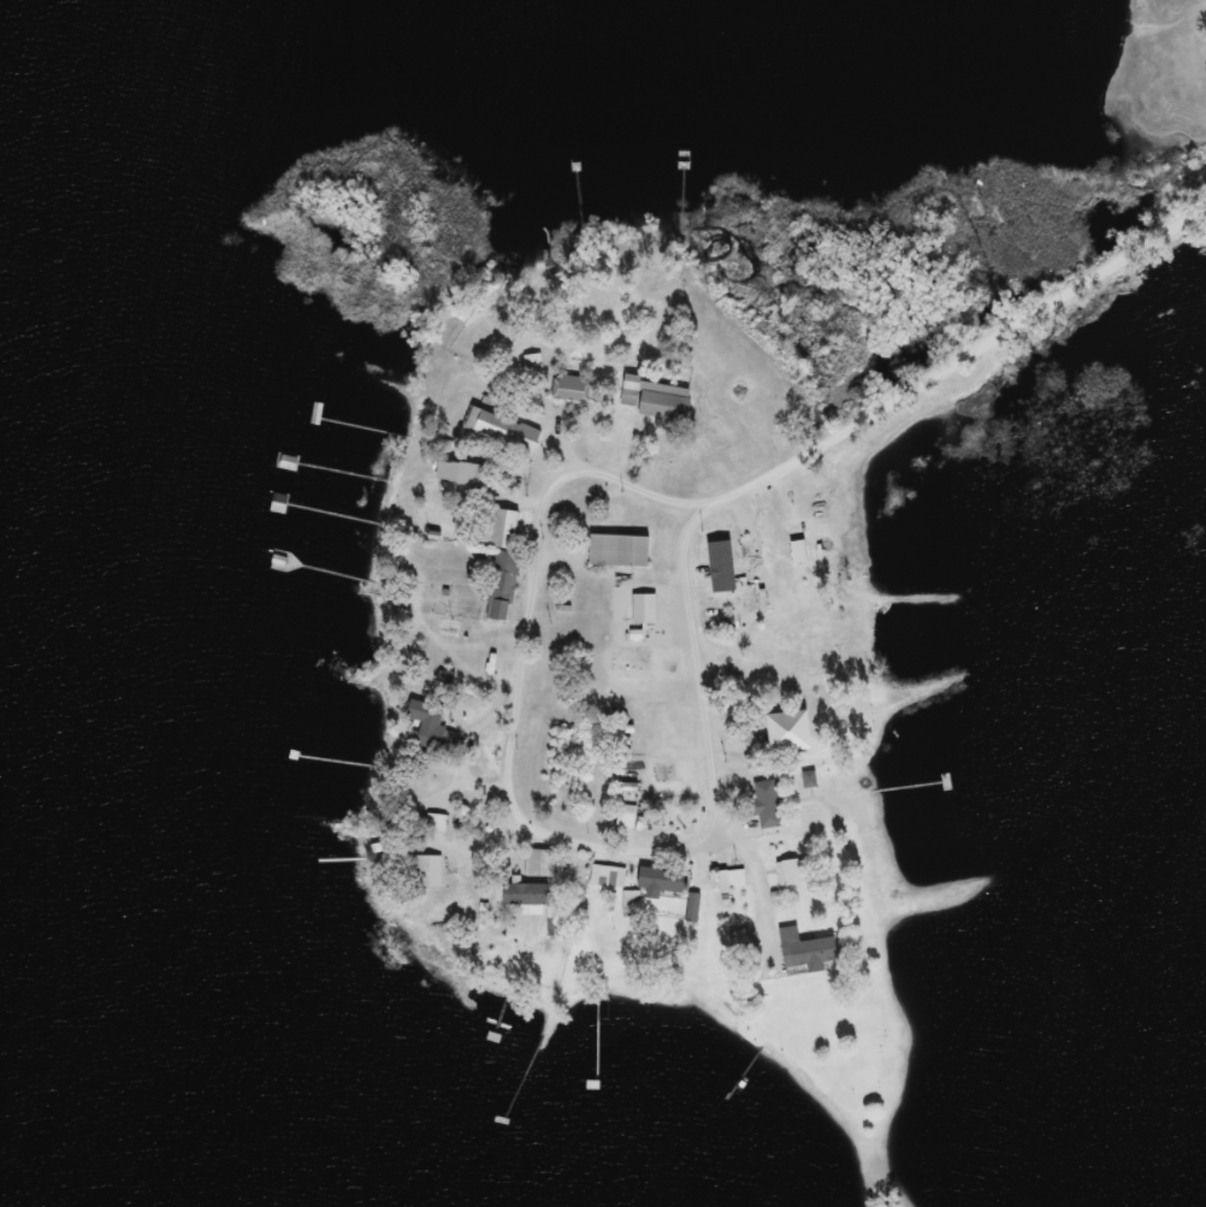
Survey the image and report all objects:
road: (935, 368)
building: (573, 389)
building: (661, 402)
building: (496, 426)
building: (465, 474)
building: (507, 528)
building: (622, 551)
building: (504, 587)
building: (642, 623)
road: (804, 646)
building: (764, 657)
building: (433, 729)
building: (793, 733)
building: (769, 805)
building: (628, 817)
building: (438, 824)
building: (542, 863)
building: (427, 871)
building: (796, 874)
building: (609, 877)
building: (734, 881)
road: (746, 881)
building: (666, 882)
building: (531, 899)
building: (633, 905)
building: (696, 909)
building: (556, 927)
building: (741, 939)
building: (810, 951)

